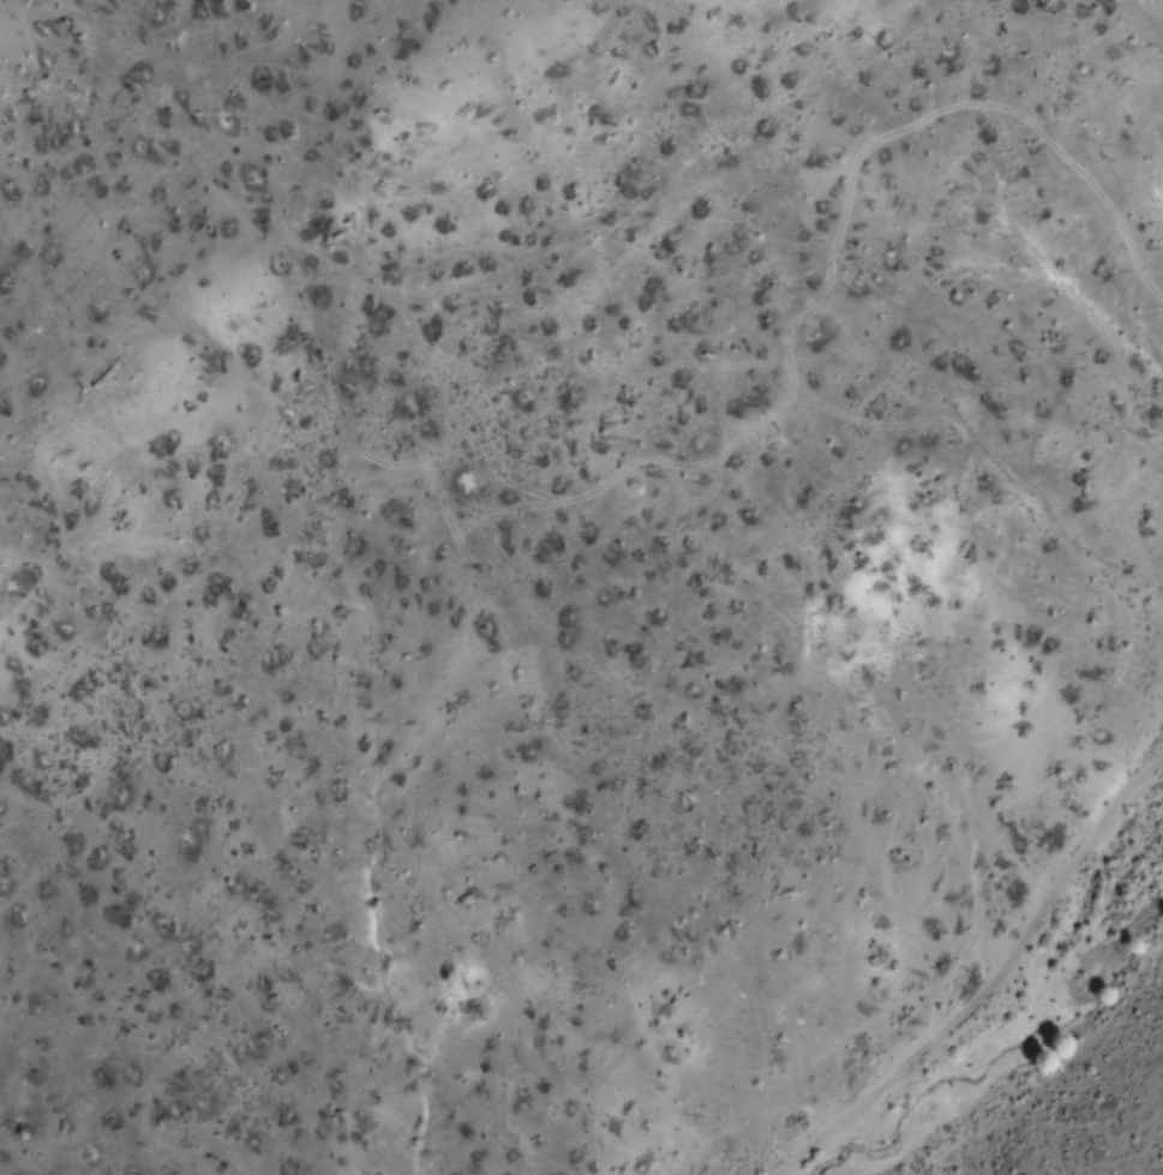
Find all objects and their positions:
road: (976, 984)

